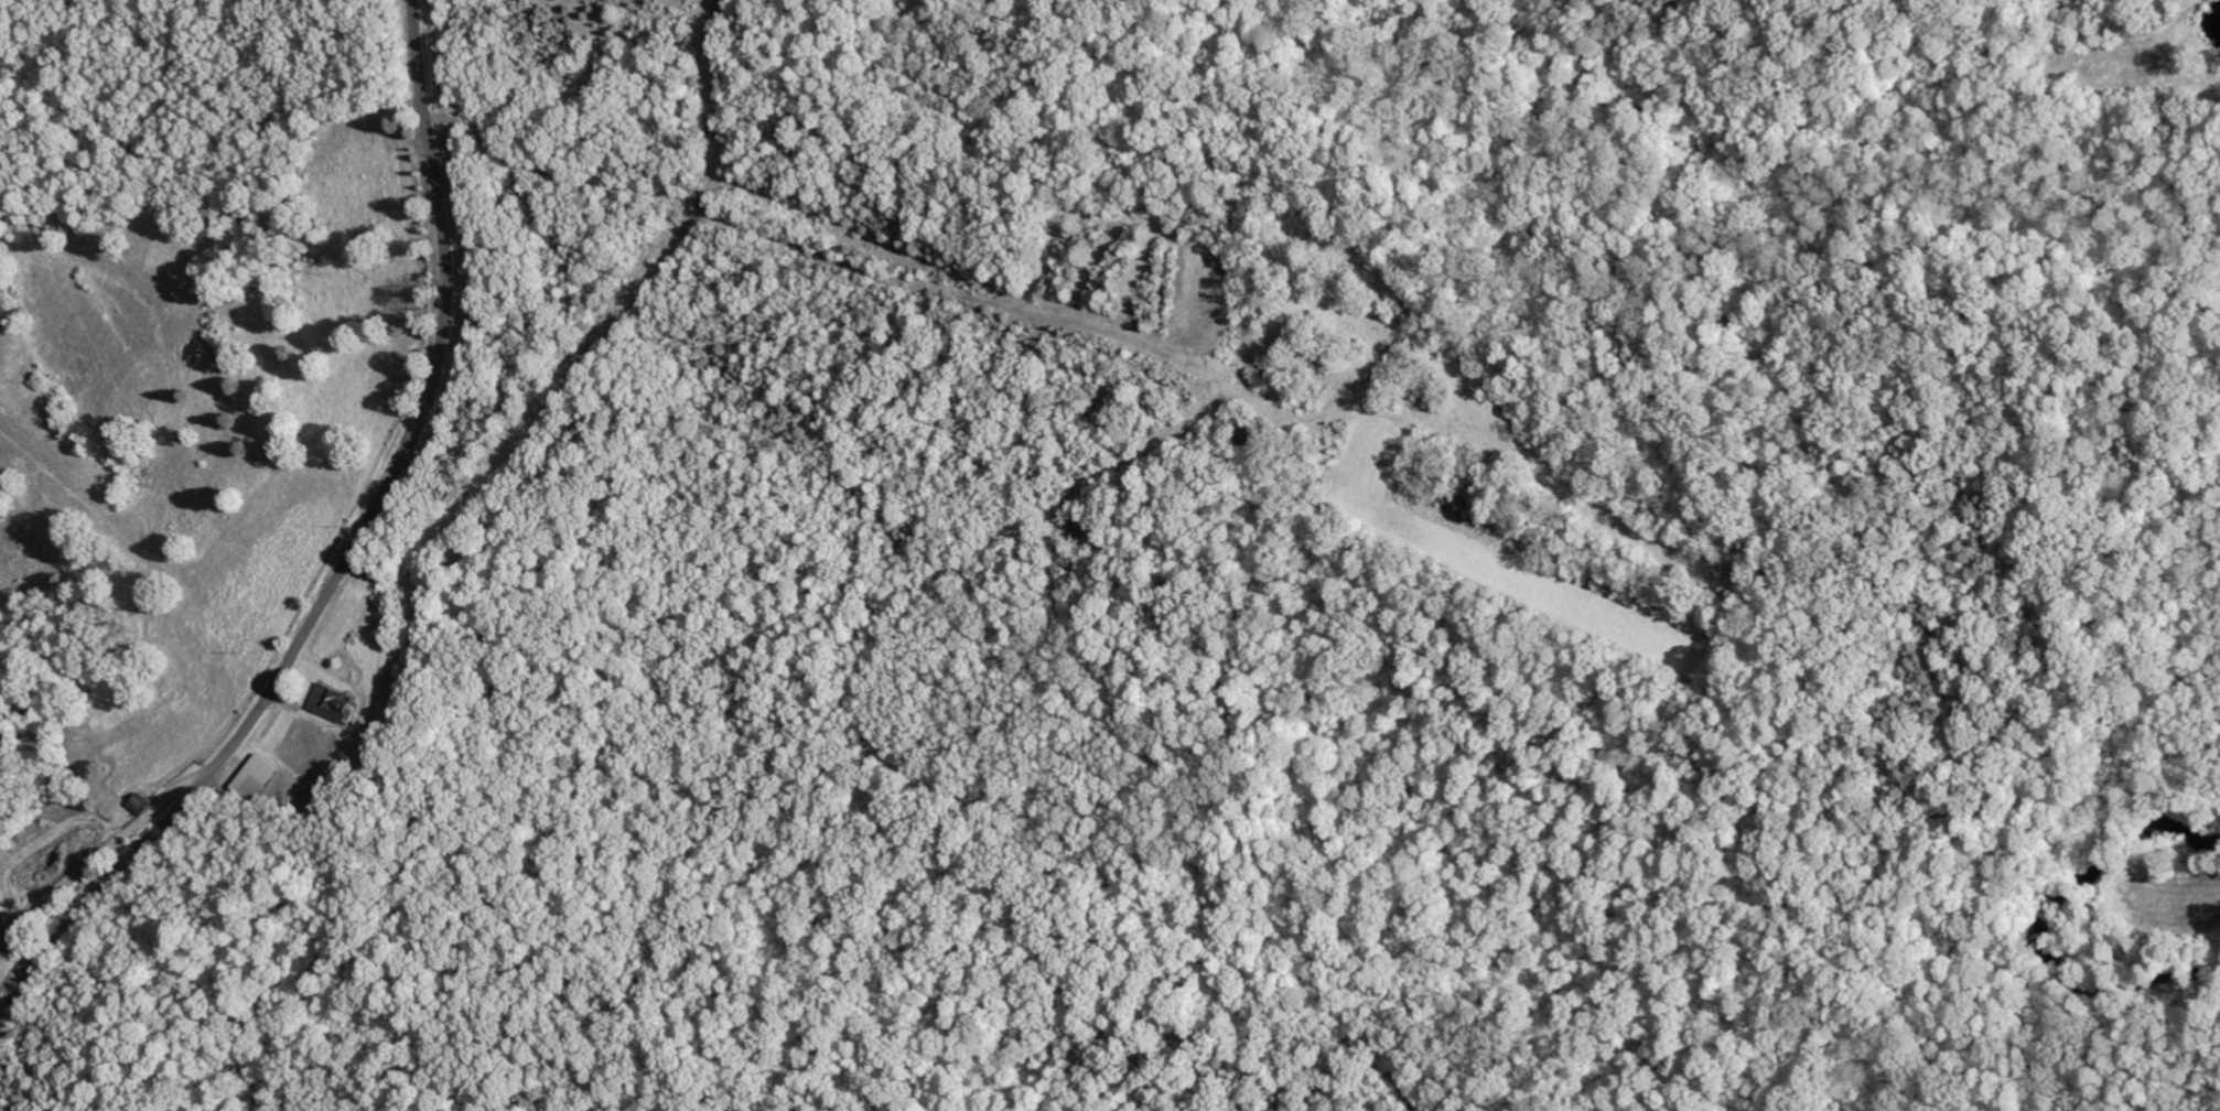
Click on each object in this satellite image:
road: (905, 303)
road: (345, 562)
building: (328, 701)
building: (251, 777)

